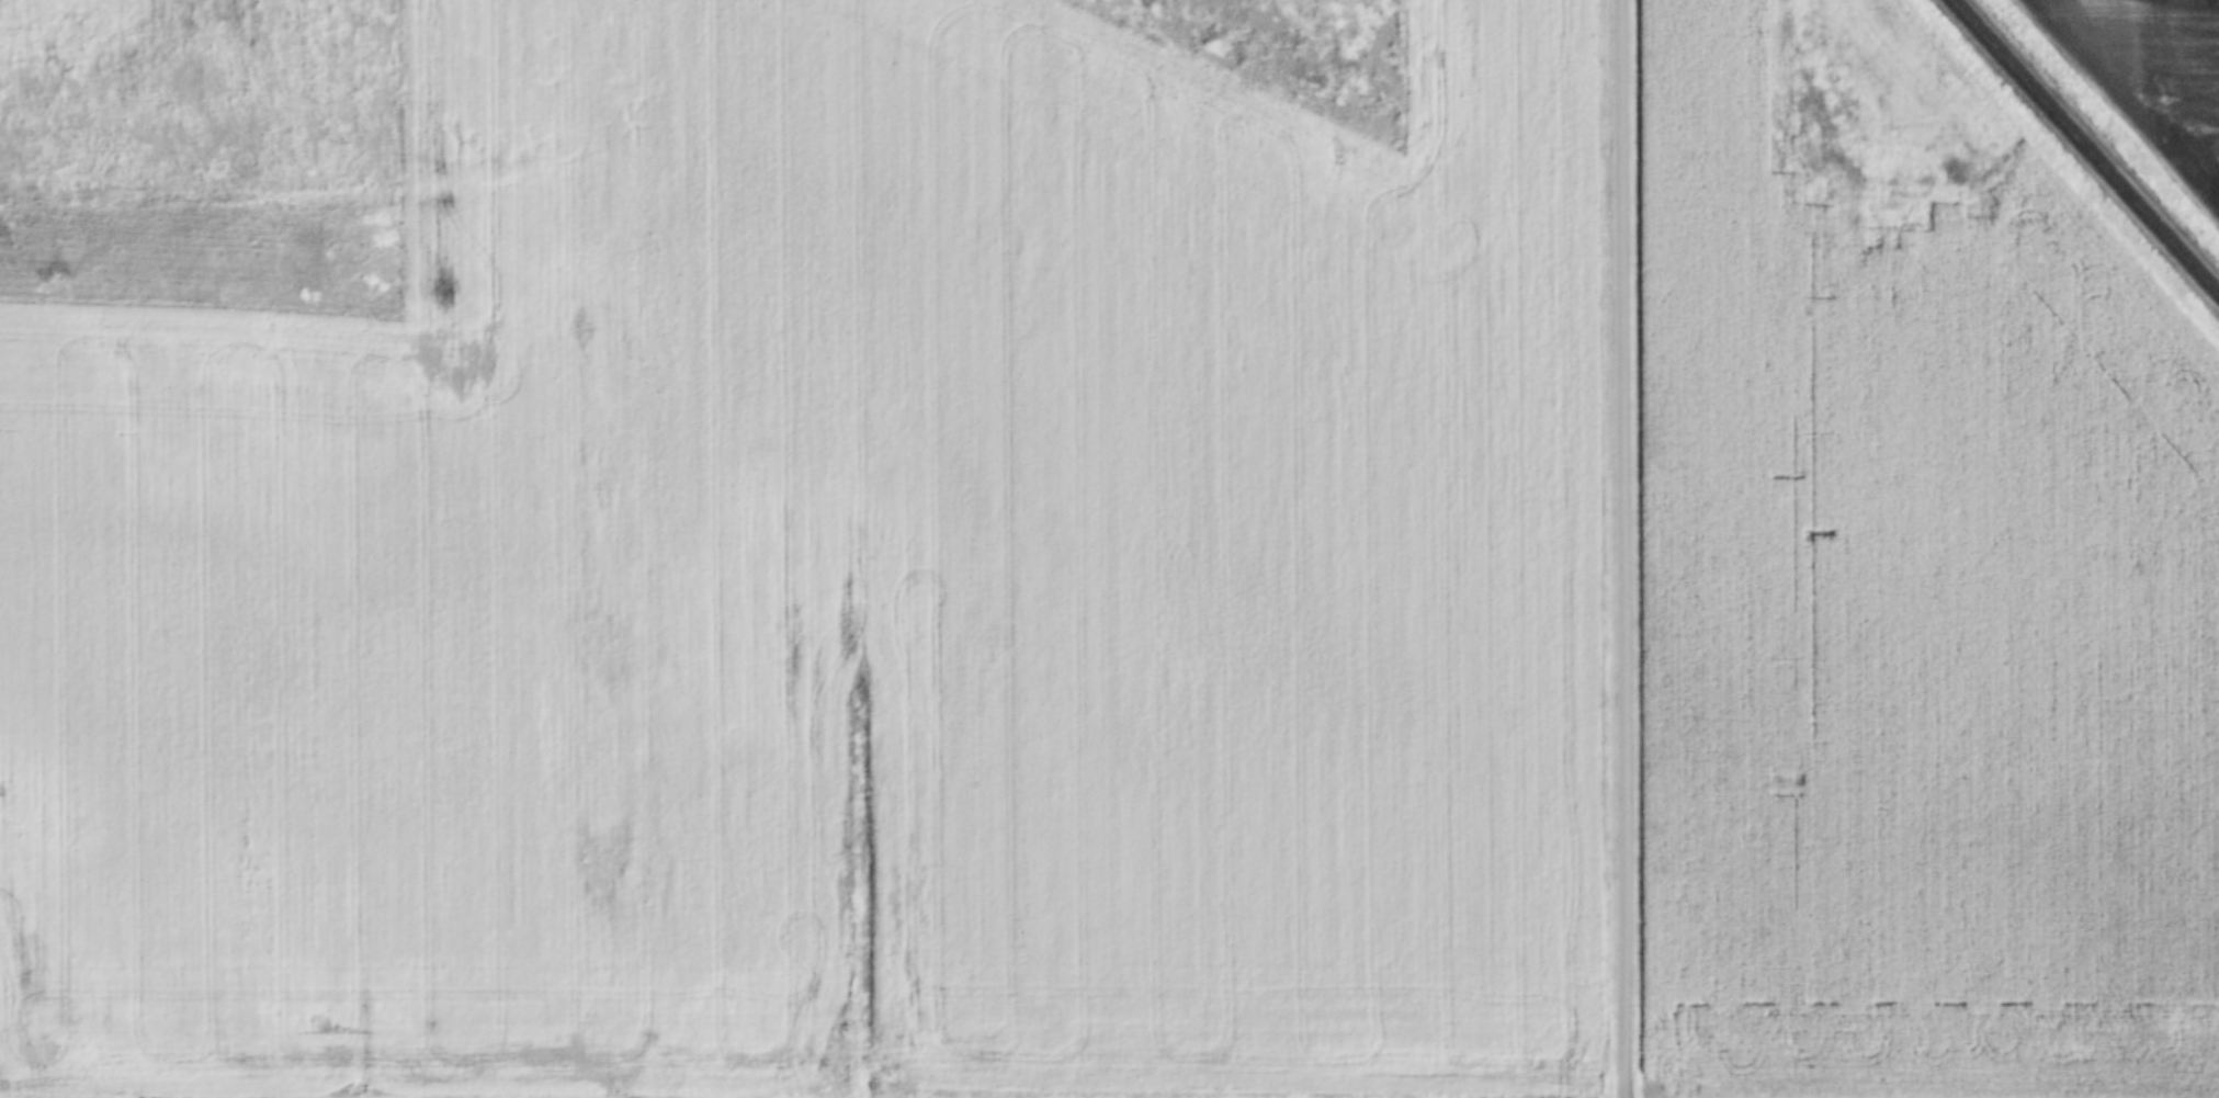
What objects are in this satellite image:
railway: (2083, 149)
road: (1628, 548)

